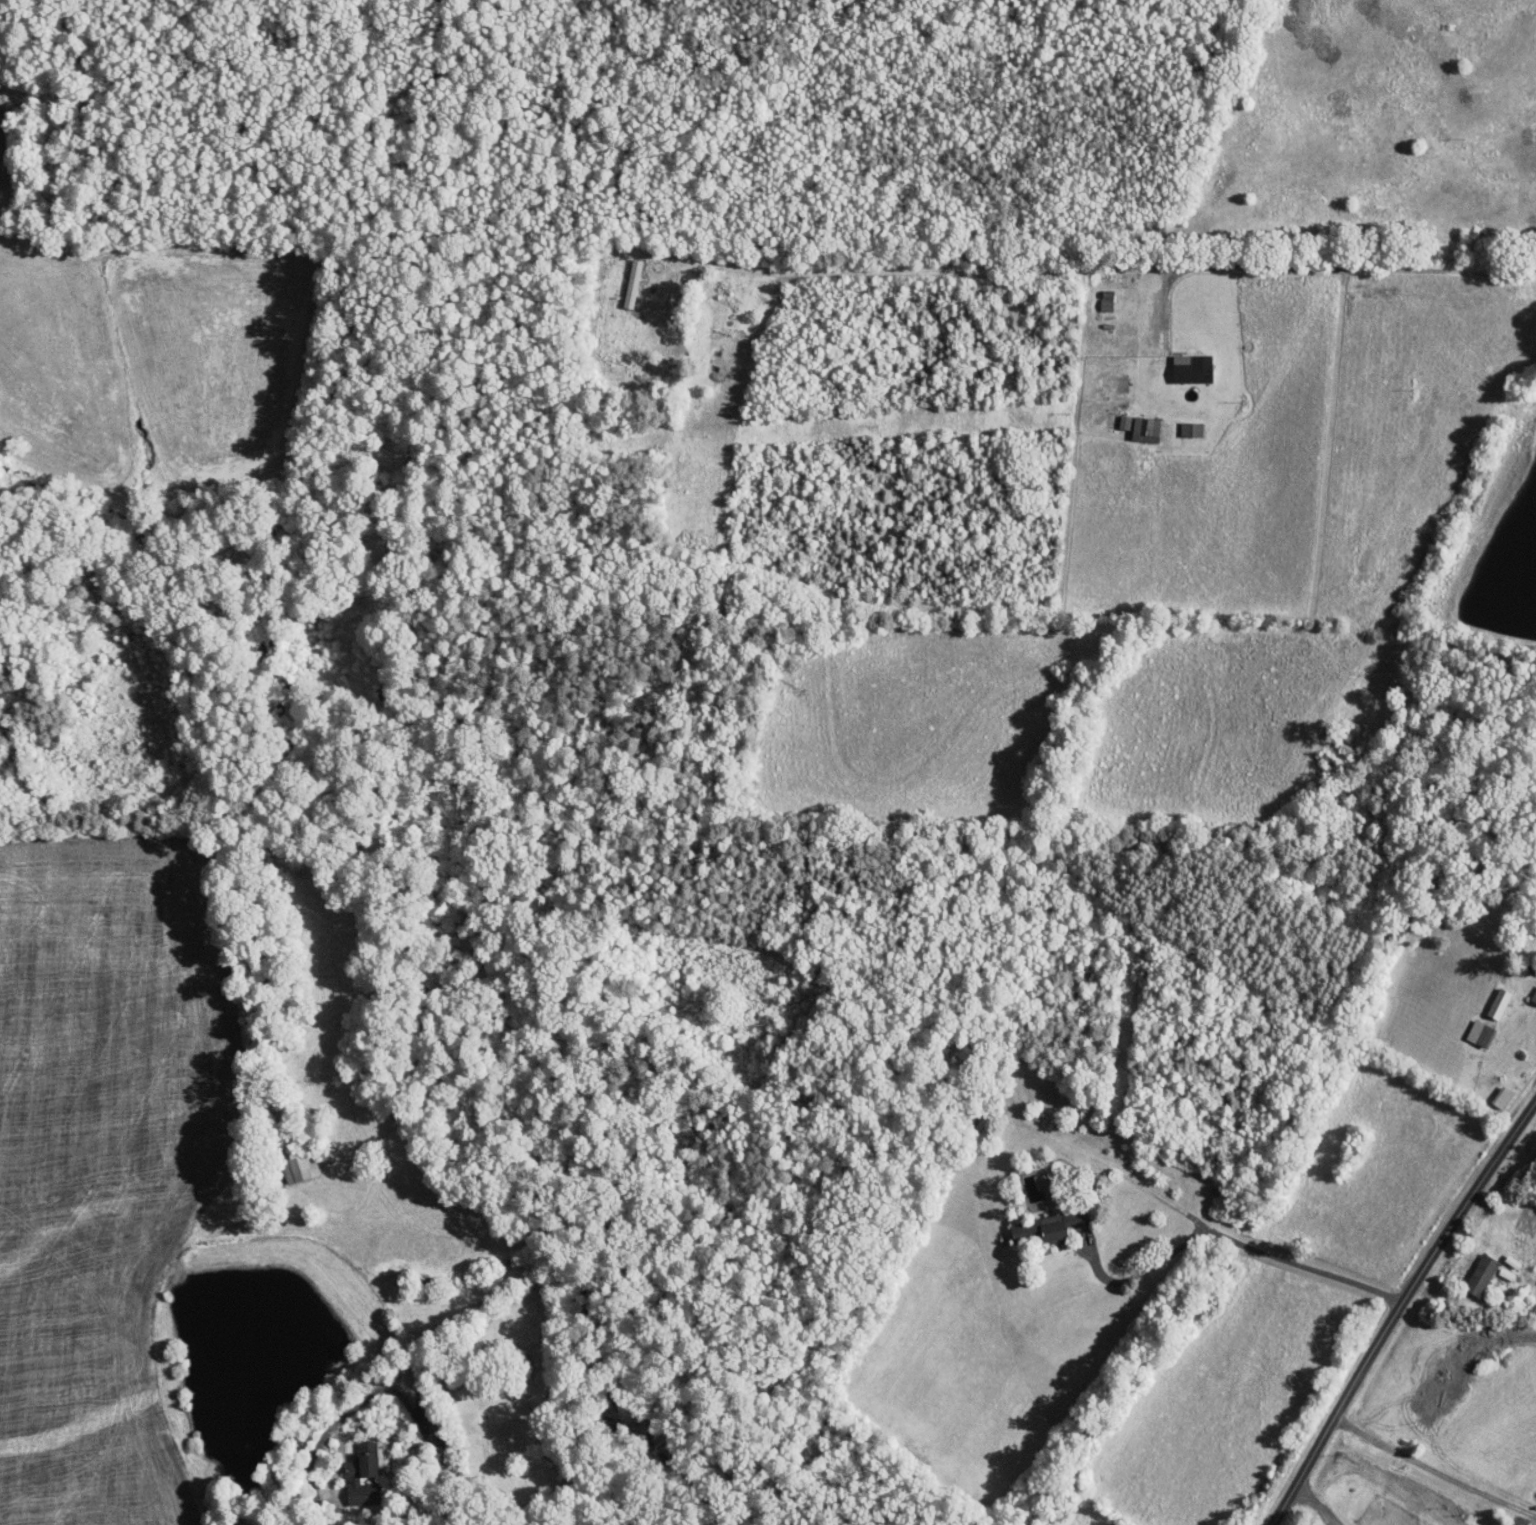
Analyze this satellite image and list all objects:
road: (1354, 266)
road: (927, 271)
building: (1107, 301)
road: (1164, 307)
building: (1194, 368)
building: (1125, 421)
building: (1148, 428)
building: (1192, 429)
road: (1404, 638)
building: (1344, 744)
building: (1534, 996)
building: (1500, 1002)
building: (1482, 1032)
building: (1503, 1095)
building: (1082, 1216)
building: (1042, 1229)
road: (1230, 1240)
road: (1453, 1272)
building: (1483, 1273)
road: (1398, 1306)
building: (428, 1416)
building: (371, 1458)
road: (1433, 1469)
building: (367, 1492)
building: (1524, 1524)

